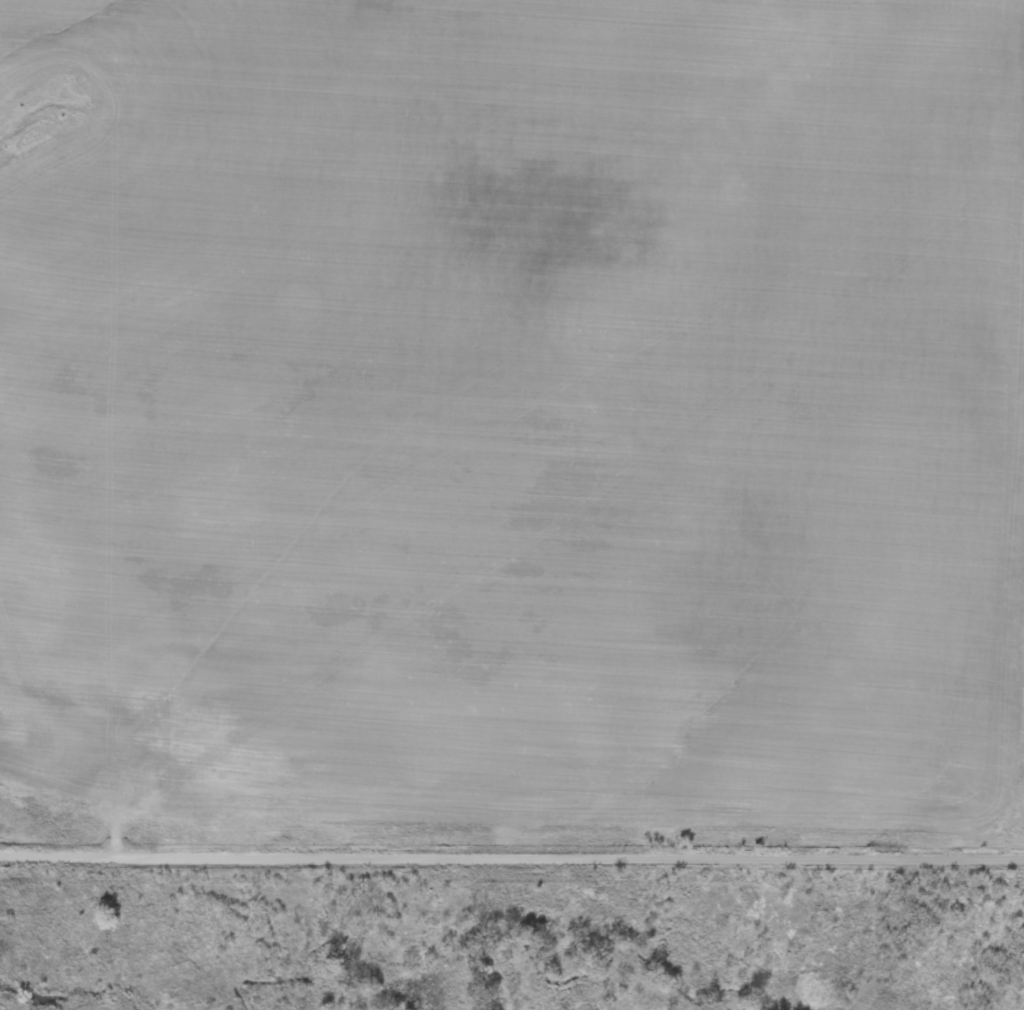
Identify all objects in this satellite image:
road: (511, 856)

